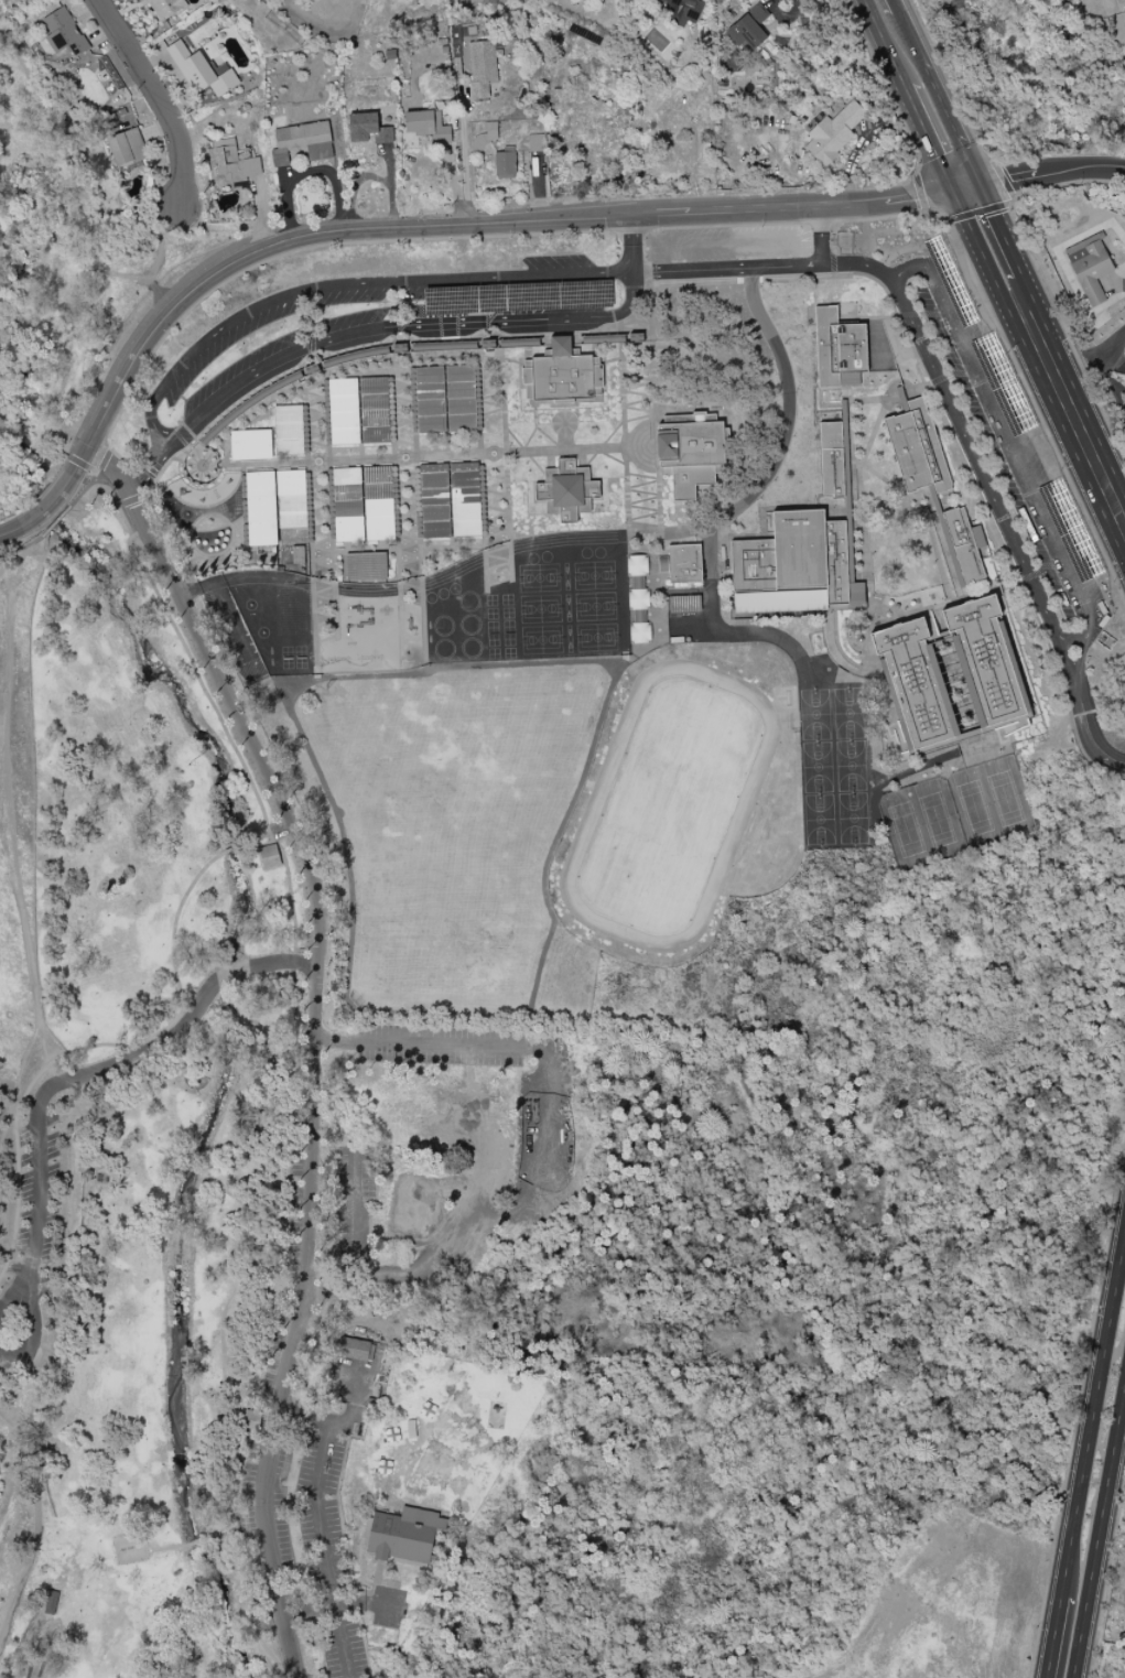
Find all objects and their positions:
road: (894, 4)
building: (164, 8)
building: (684, 9)
building: (749, 29)
building: (64, 33)
road: (886, 44)
building: (486, 64)
building: (202, 71)
road: (952, 85)
road: (887, 86)
road: (158, 97)
road: (940, 97)
building: (428, 126)
building: (368, 129)
building: (833, 133)
building: (484, 137)
road: (927, 140)
building: (302, 142)
building: (536, 143)
building: (127, 149)
building: (230, 164)
road: (467, 164)
building: (505, 164)
road: (1038, 177)
road: (1006, 183)
road: (45, 187)
road: (920, 192)
road: (982, 212)
park: (77, 224)
road: (671, 228)
road: (407, 230)
road: (998, 231)
road: (820, 237)
road: (634, 243)
road: (978, 249)
building: (1089, 268)
road: (349, 283)
road: (1018, 286)
road: (400, 325)
road: (1064, 329)
building: (839, 349)
road: (1106, 350)
road: (931, 359)
road: (109, 375)
building: (445, 399)
building: (343, 411)
road: (1071, 412)
building: (288, 430)
road: (1003, 435)
building: (250, 445)
building: (916, 448)
building: (689, 455)
parking lot: (1016, 455)
building: (831, 459)
road: (106, 461)
road: (79, 464)
road: (152, 468)
road: (150, 470)
road: (154, 486)
road: (755, 495)
building: (291, 499)
road: (133, 500)
building: (450, 500)
building: (347, 505)
building: (260, 509)
building: (959, 541)
building: (684, 563)
building: (855, 594)
building: (638, 599)
building: (639, 634)
road: (1078, 636)
road: (1082, 653)
building: (987, 657)
building: (915, 684)
road: (1089, 730)
road: (2, 755)
road: (261, 838)
road: (244, 845)
building: (270, 857)
road: (306, 857)
road: (294, 963)
road: (256, 966)
road: (101, 1044)
road: (419, 1044)
road: (143, 1053)
road: (299, 1062)
road: (40, 1197)
road: (353, 1203)
park: (459, 1278)
road: (30, 1303)
road: (365, 1329)
building: (353, 1349)
road: (1078, 1412)
building: (252, 1416)
road: (1092, 1417)
road: (343, 1422)
road: (36, 1442)
road: (264, 1497)
road: (11, 1514)
road: (1099, 1531)
road: (218, 1534)
building: (405, 1535)
road: (196, 1542)
road: (170, 1548)
road: (324, 1549)
road: (908, 1549)
road: (1107, 1579)
road: (15, 1591)
building: (52, 1603)
road: (370, 1604)
road: (309, 1612)
road: (1052, 1638)

